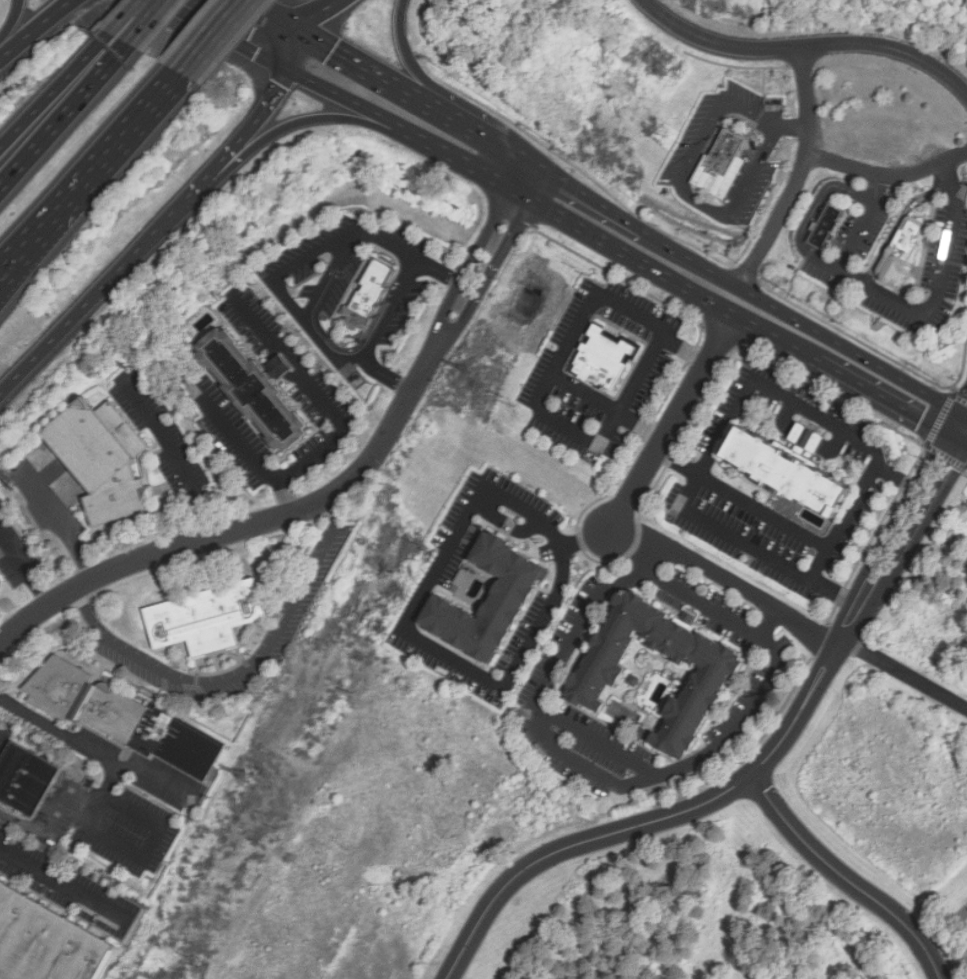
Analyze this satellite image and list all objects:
road: (316, 14)
road: (266, 15)
road: (125, 16)
road: (12, 23)
road: (146, 23)
road: (34, 29)
traffic signals: (292, 30)
road: (232, 33)
road: (211, 37)
road: (270, 40)
road: (805, 47)
traffic signals: (289, 71)
road: (422, 80)
road: (55, 90)
road: (412, 98)
road: (267, 103)
road: (355, 105)
road: (63, 116)
road: (314, 119)
road: (789, 124)
building: (723, 166)
road: (885, 170)
road: (797, 175)
road: (89, 176)
road: (681, 185)
road: (814, 214)
road: (172, 218)
building: (828, 227)
road: (44, 235)
road: (659, 241)
building: (903, 248)
road: (477, 249)
road: (409, 254)
road: (497, 260)
road: (333, 275)
road: (280, 289)
road: (688, 292)
building: (370, 293)
road: (906, 304)
road: (388, 308)
building: (51, 310)
road: (62, 330)
road: (572, 333)
road: (742, 349)
building: (604, 359)
road: (877, 367)
road: (640, 372)
power tower: (472, 373)
road: (386, 374)
building: (255, 389)
road: (319, 395)
road: (964, 423)
road: (567, 426)
road: (670, 426)
traffic signals: (961, 428)
road: (964, 429)
road: (718, 437)
road: (175, 453)
road: (254, 453)
building: (102, 460)
road: (678, 460)
building: (793, 466)
road: (846, 523)
road: (61, 525)
road: (250, 527)
road: (901, 532)
road: (24, 571)
road: (727, 579)
building: (0, 582)
building: (511, 600)
road: (411, 612)
building: (208, 617)
road: (904, 673)
road: (242, 676)
building: (597, 680)
building: (634, 682)
road: (802, 710)
building: (124, 718)
building: (642, 733)
road: (73, 735)
road: (591, 774)
building: (27, 777)
power tower: (244, 779)
road: (150, 780)
road: (42, 825)
road: (577, 844)
road: (144, 856)
road: (847, 880)
road: (65, 884)
building: (44, 943)

